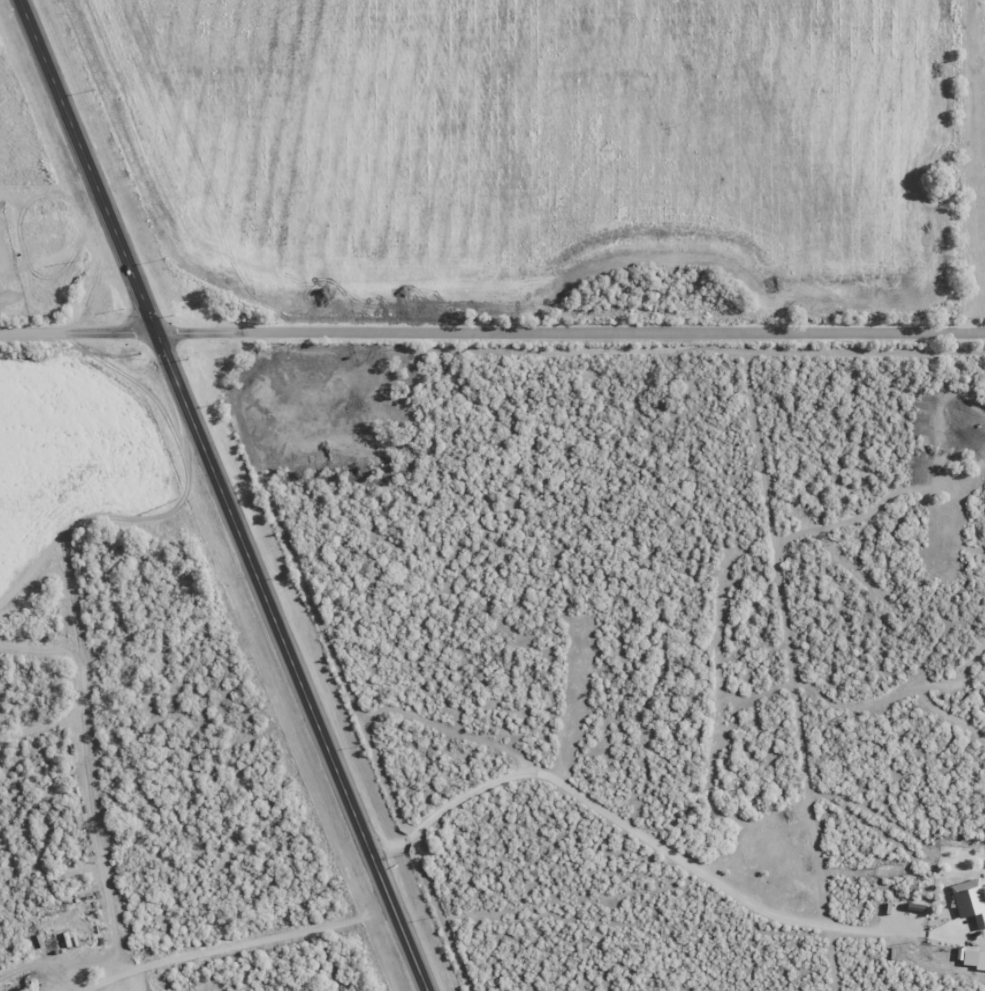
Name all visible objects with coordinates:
power tower: (87, 260)
road: (76, 331)
road: (569, 331)
road: (185, 443)
road: (223, 495)
power tower: (200, 540)
road: (32, 570)
road: (38, 647)
road: (79, 719)
road: (39, 727)
building: (331, 780)
road: (629, 829)
power tower: (341, 886)
building: (967, 902)
building: (965, 958)
road: (38, 965)
road: (102, 982)
building: (30, 983)

